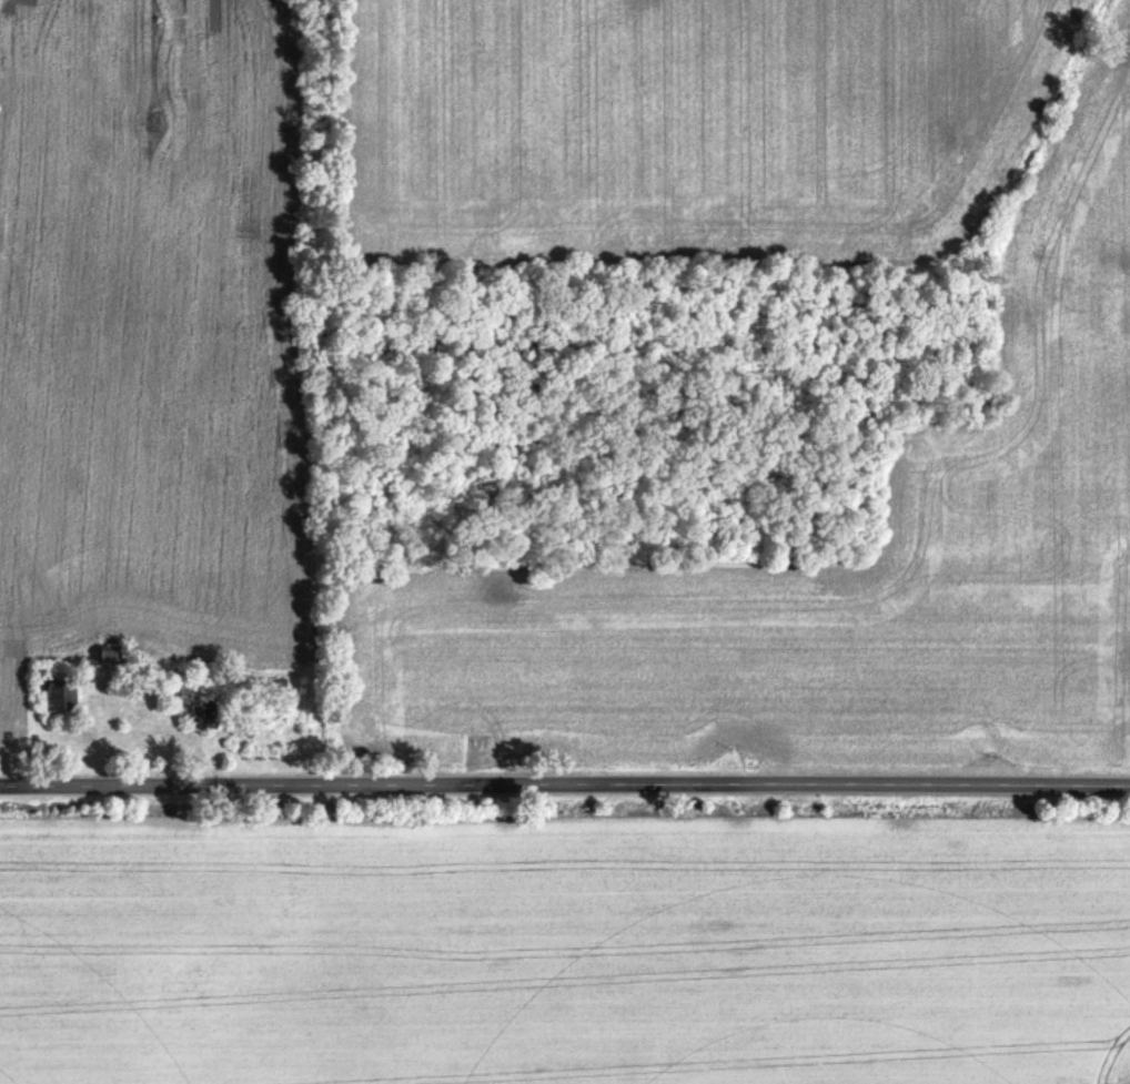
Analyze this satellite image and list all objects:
building: (178, 690)
building: (63, 699)
road: (565, 780)

